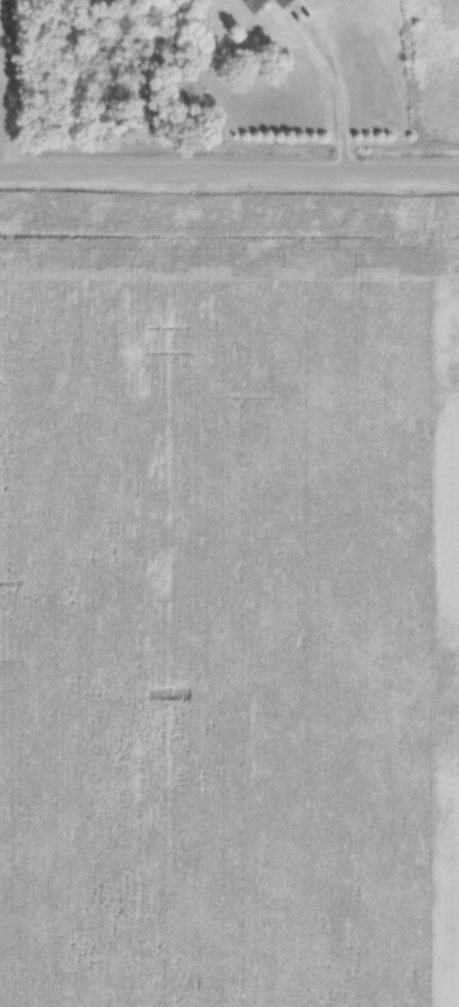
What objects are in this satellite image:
building: (285, 3)
building: (256, 4)
road: (329, 59)
road: (229, 168)

